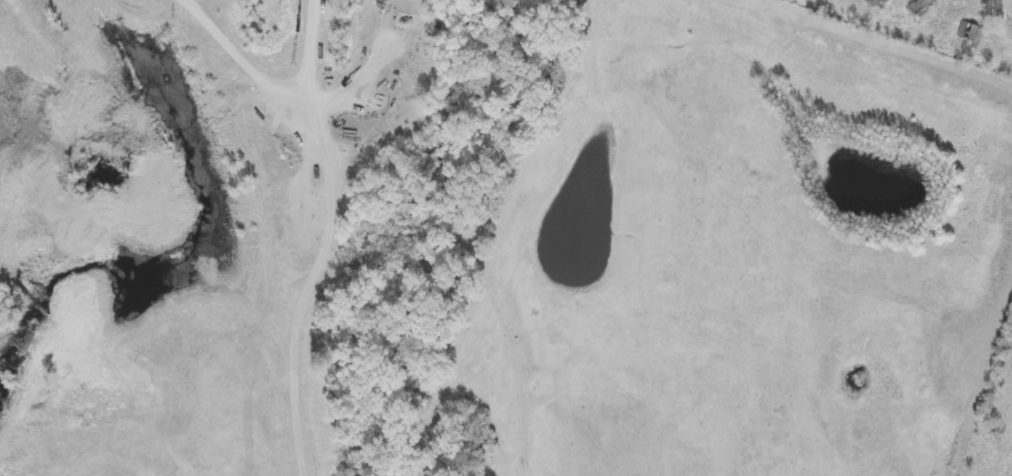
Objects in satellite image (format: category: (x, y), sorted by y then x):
road: (994, 53)
road: (3, 71)
road: (8, 113)
road: (108, 231)
road: (527, 238)

